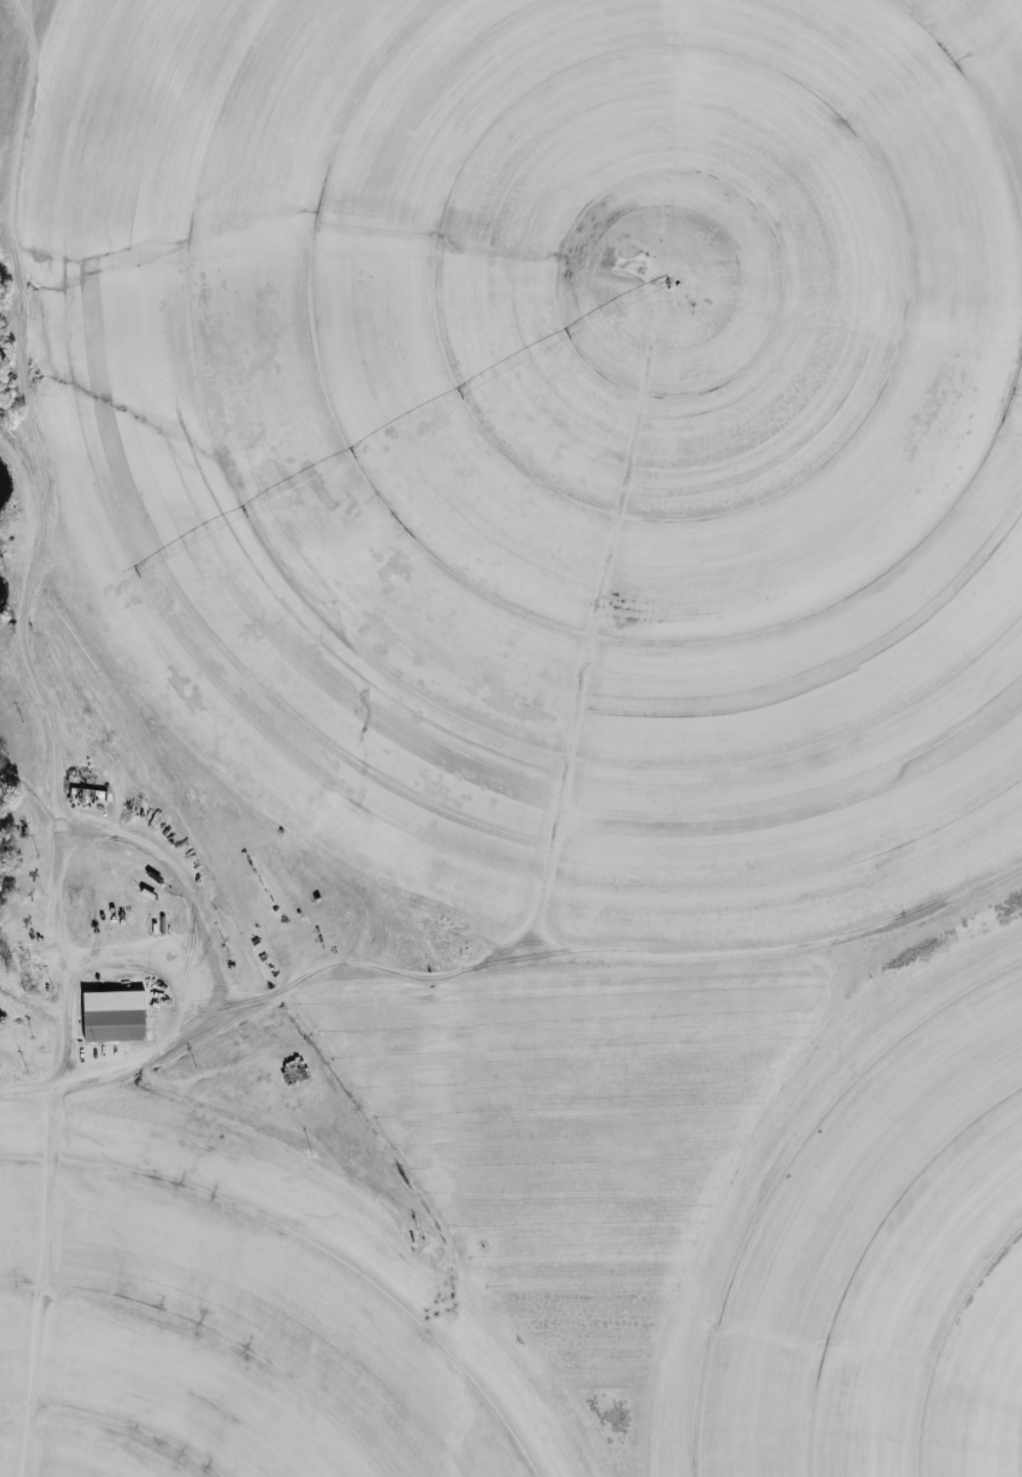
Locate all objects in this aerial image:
building: (91, 793)
building: (117, 1015)
road: (32, 1078)

